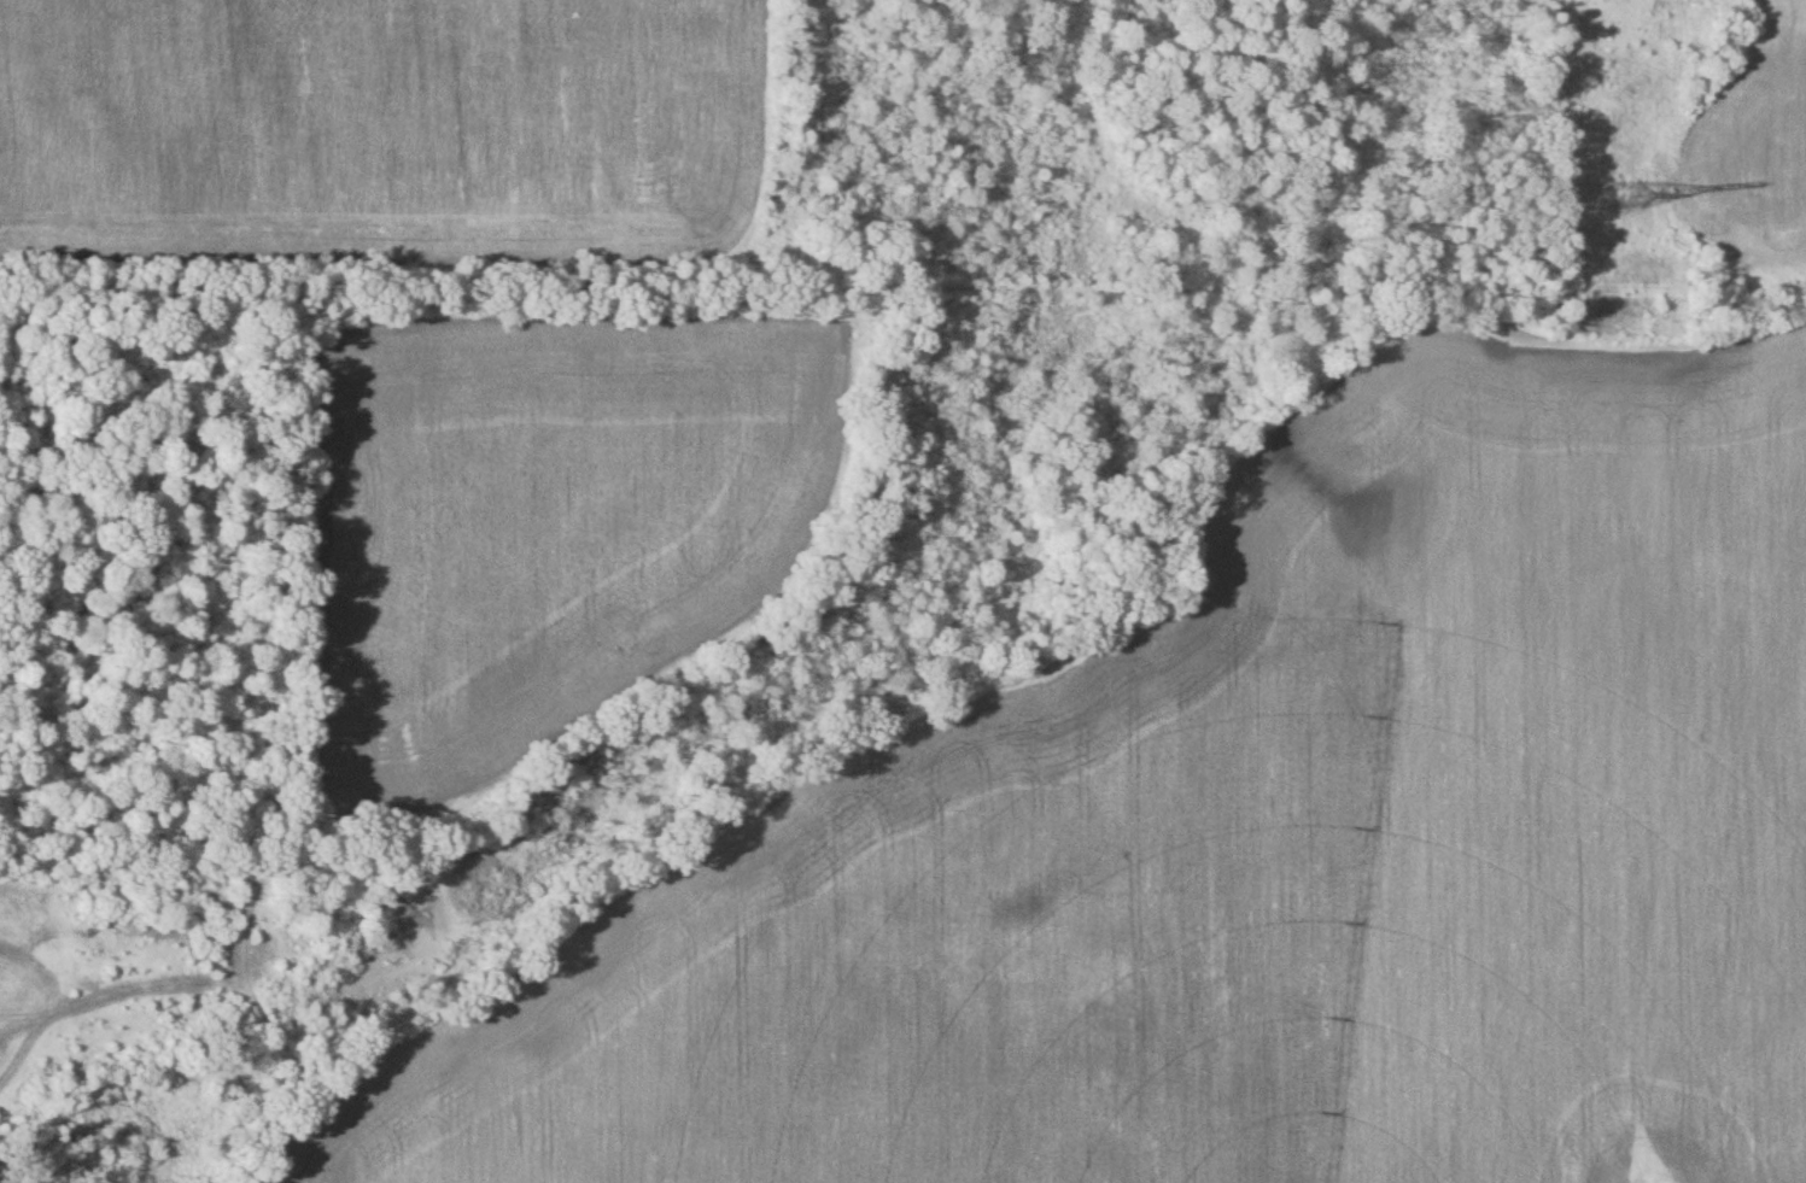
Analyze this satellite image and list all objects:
power tower: (1625, 193)

